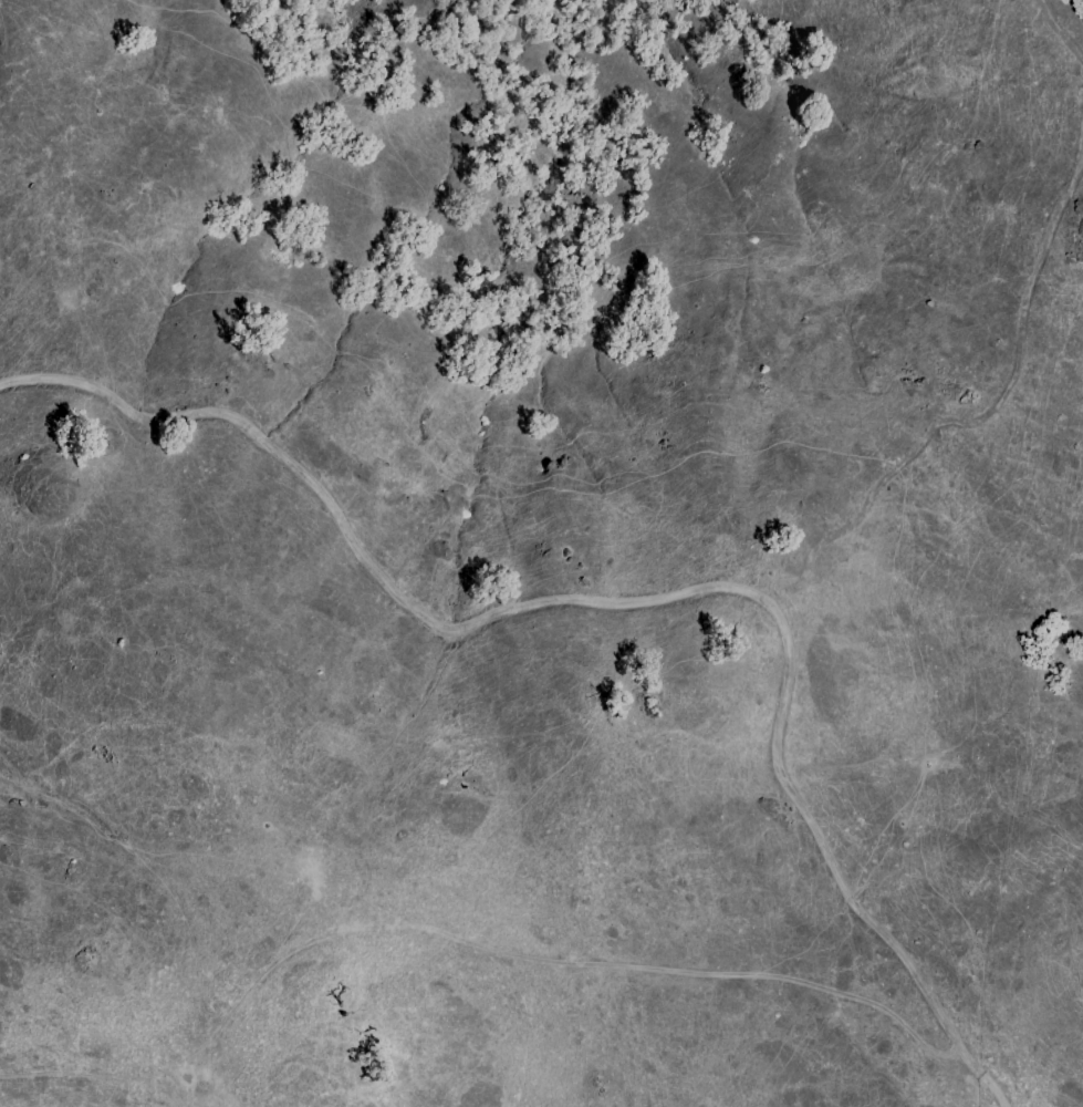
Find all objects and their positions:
road: (623, 610)

